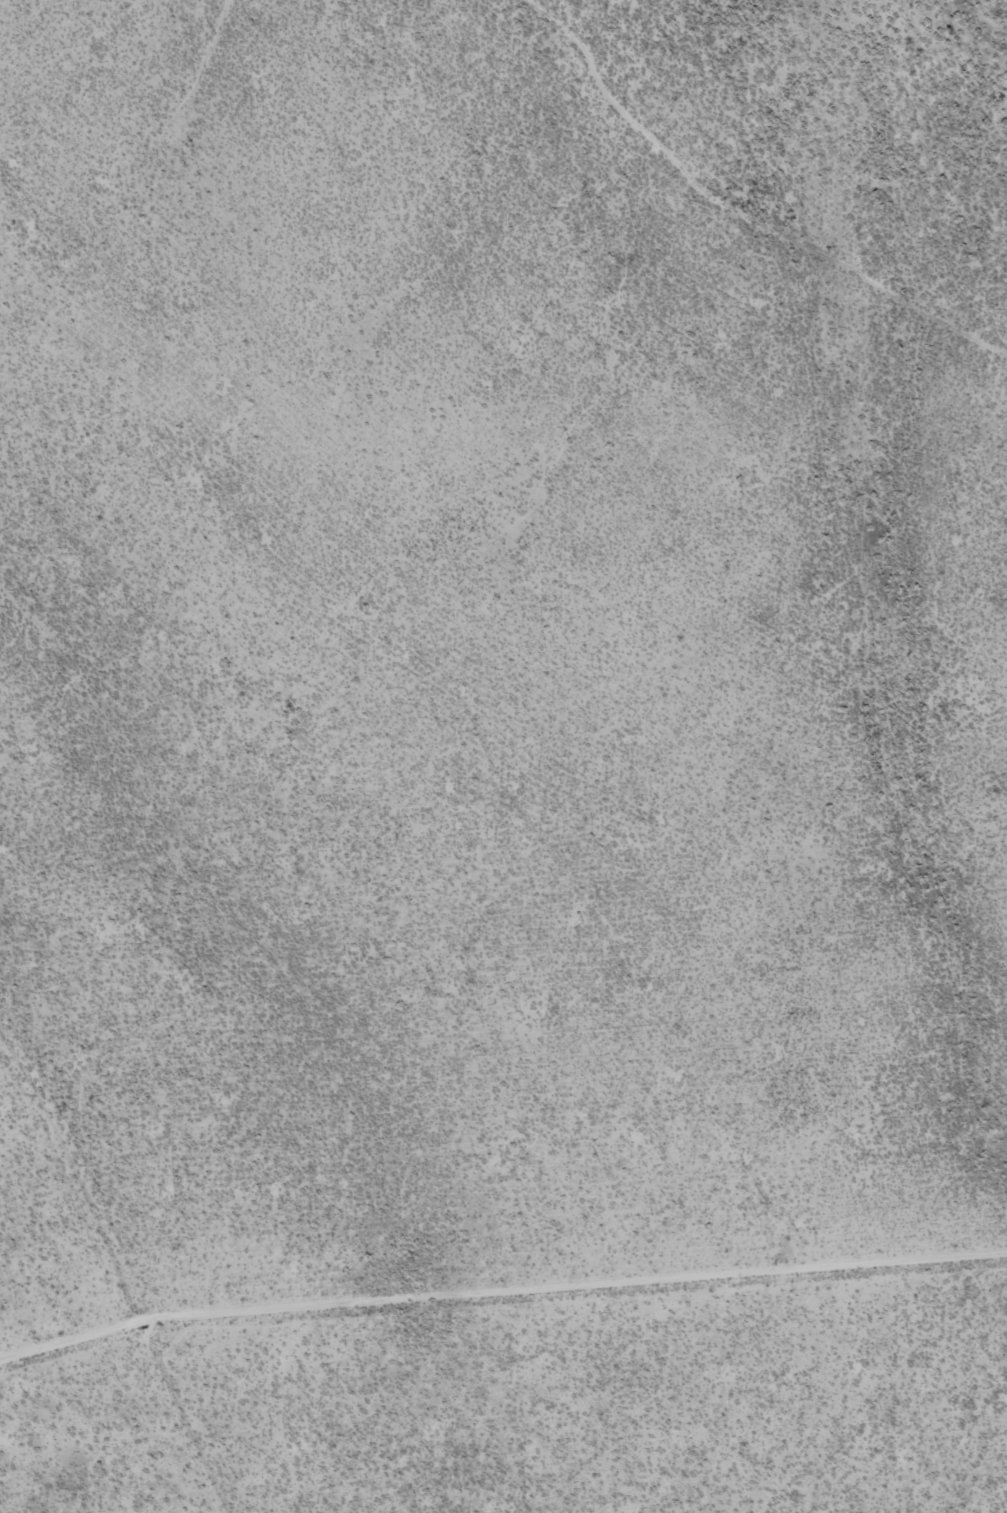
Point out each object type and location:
road: (737, 218)
road: (117, 1263)
road: (499, 1283)

